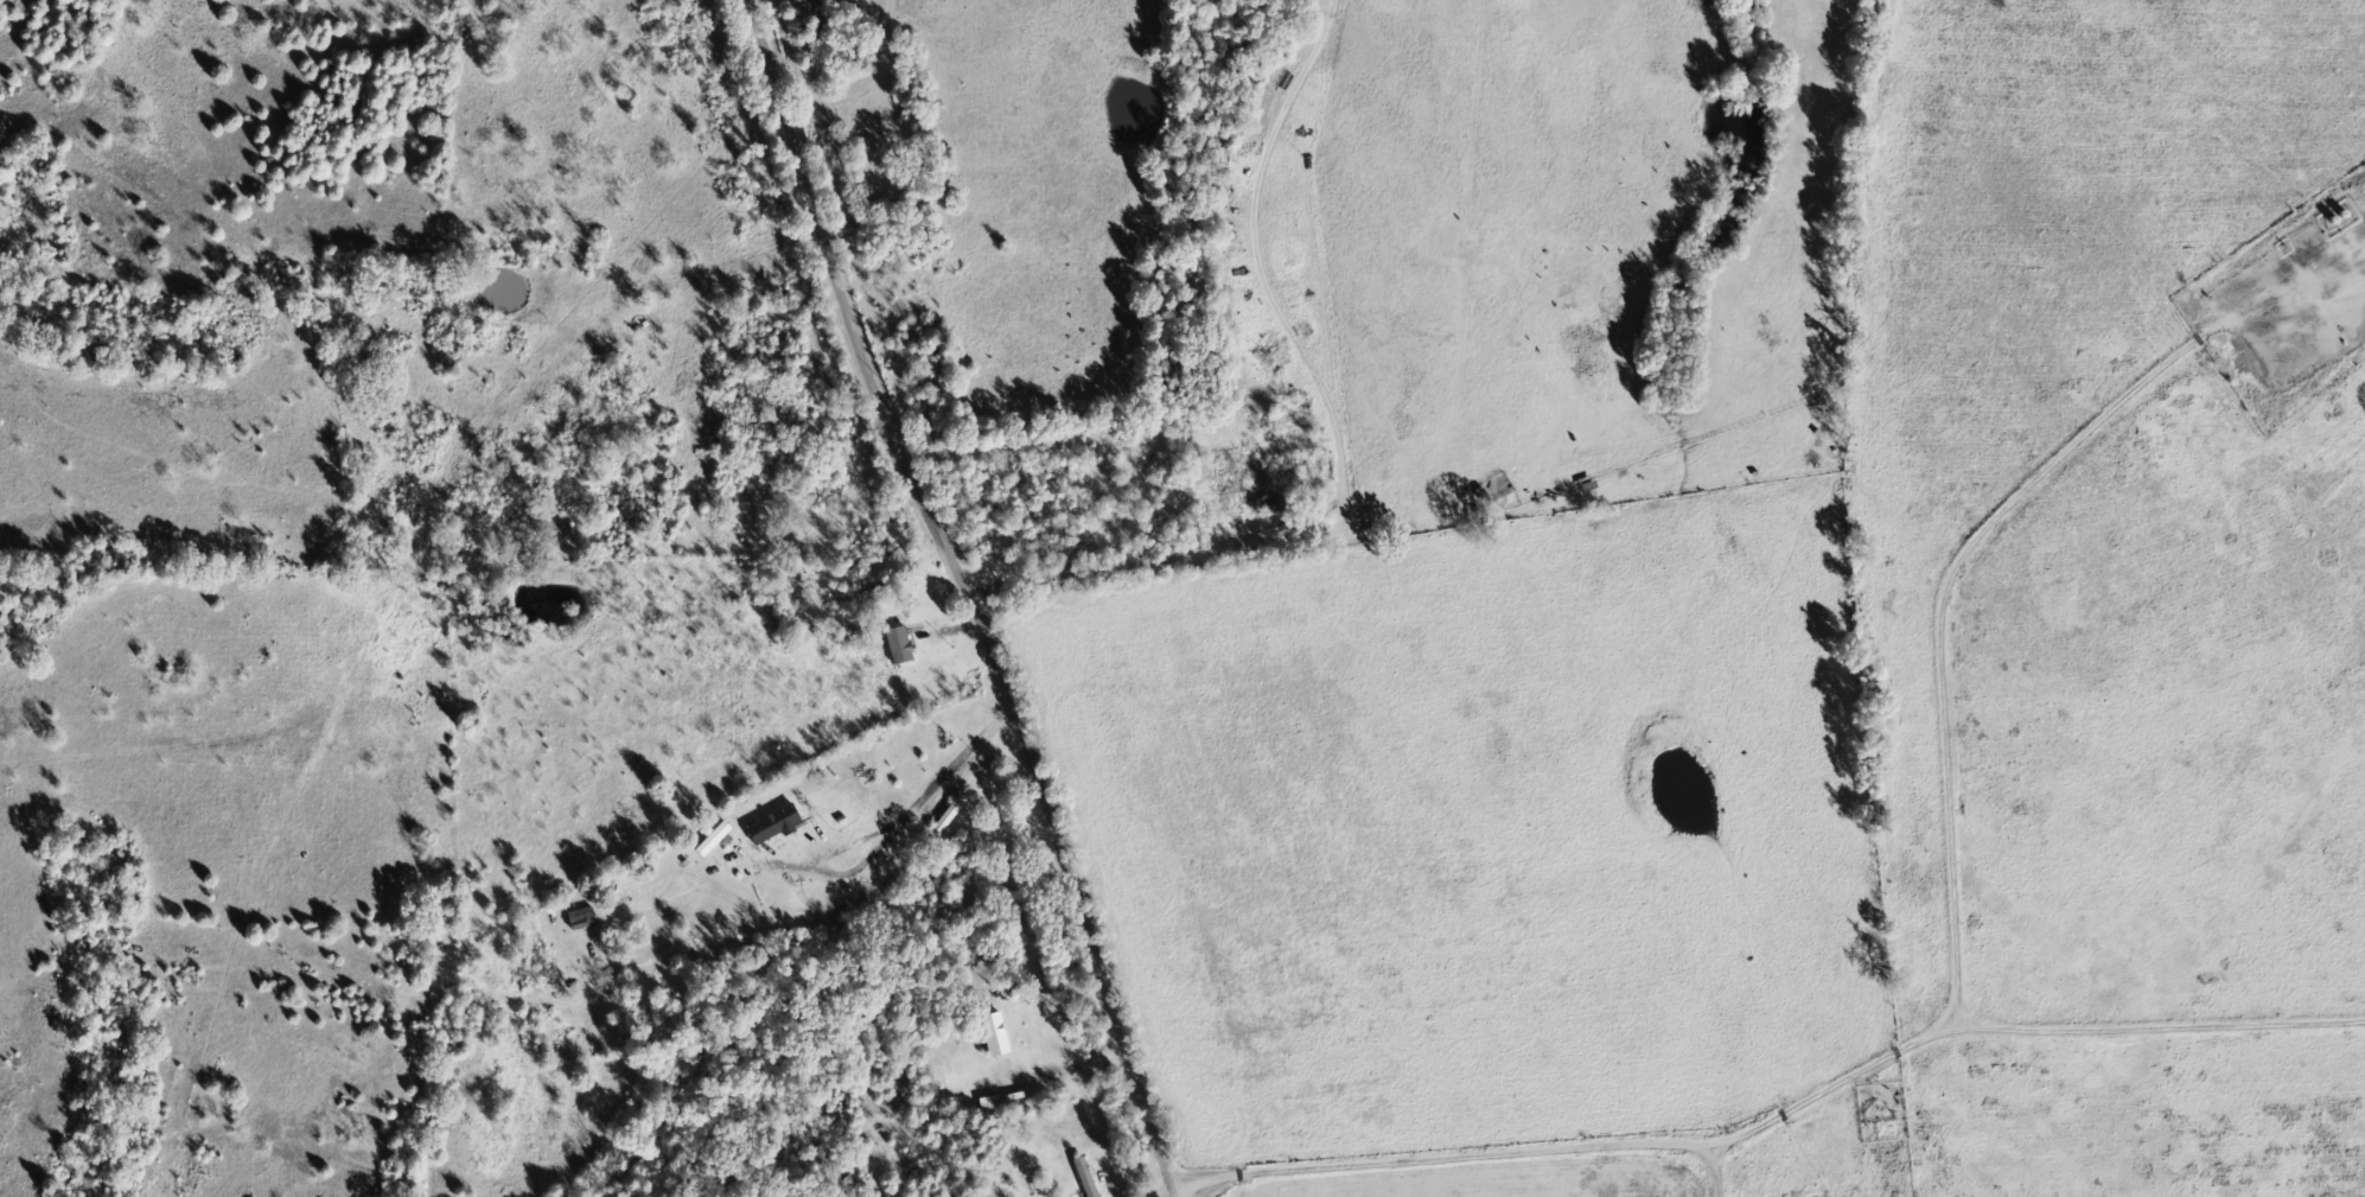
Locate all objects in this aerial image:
road: (1098, 566)
road: (994, 593)
building: (903, 647)
building: (779, 824)
road: (499, 835)
building: (718, 840)
building: (997, 1036)
building: (1089, 1177)

